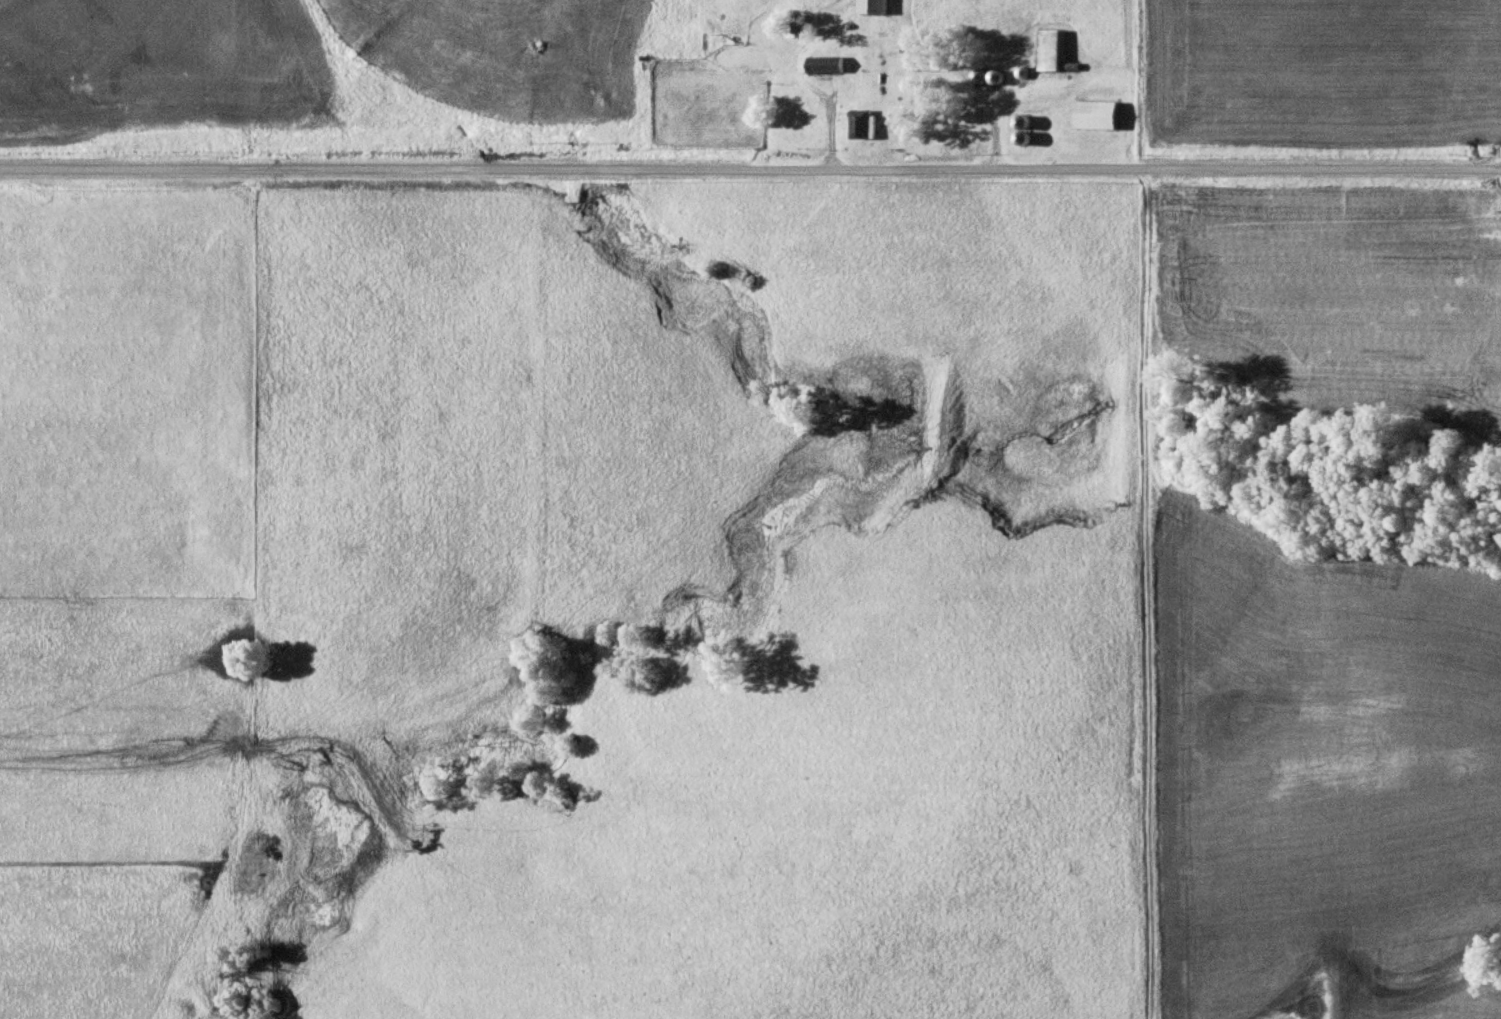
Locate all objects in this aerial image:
road: (864, 34)
building: (1046, 47)
building: (825, 62)
building: (994, 75)
building: (1097, 113)
building: (862, 121)
road: (750, 168)

